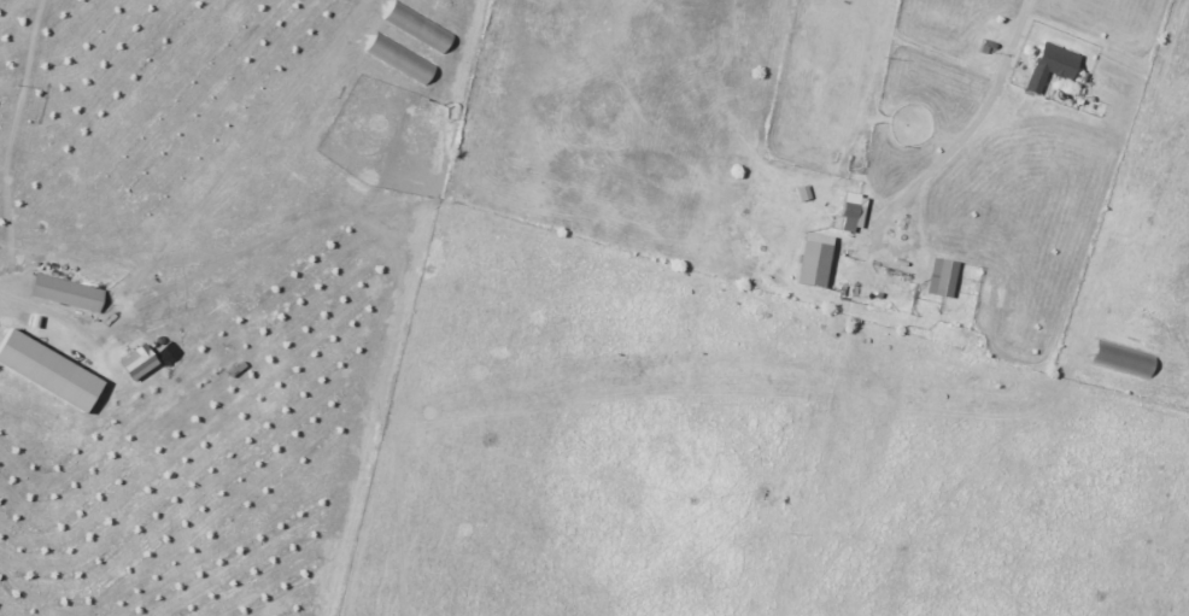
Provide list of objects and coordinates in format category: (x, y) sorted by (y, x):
building: (1053, 65)
road: (983, 118)
building: (854, 211)
building: (815, 259)
building: (943, 277)
building: (68, 292)
road: (46, 310)
building: (49, 370)

